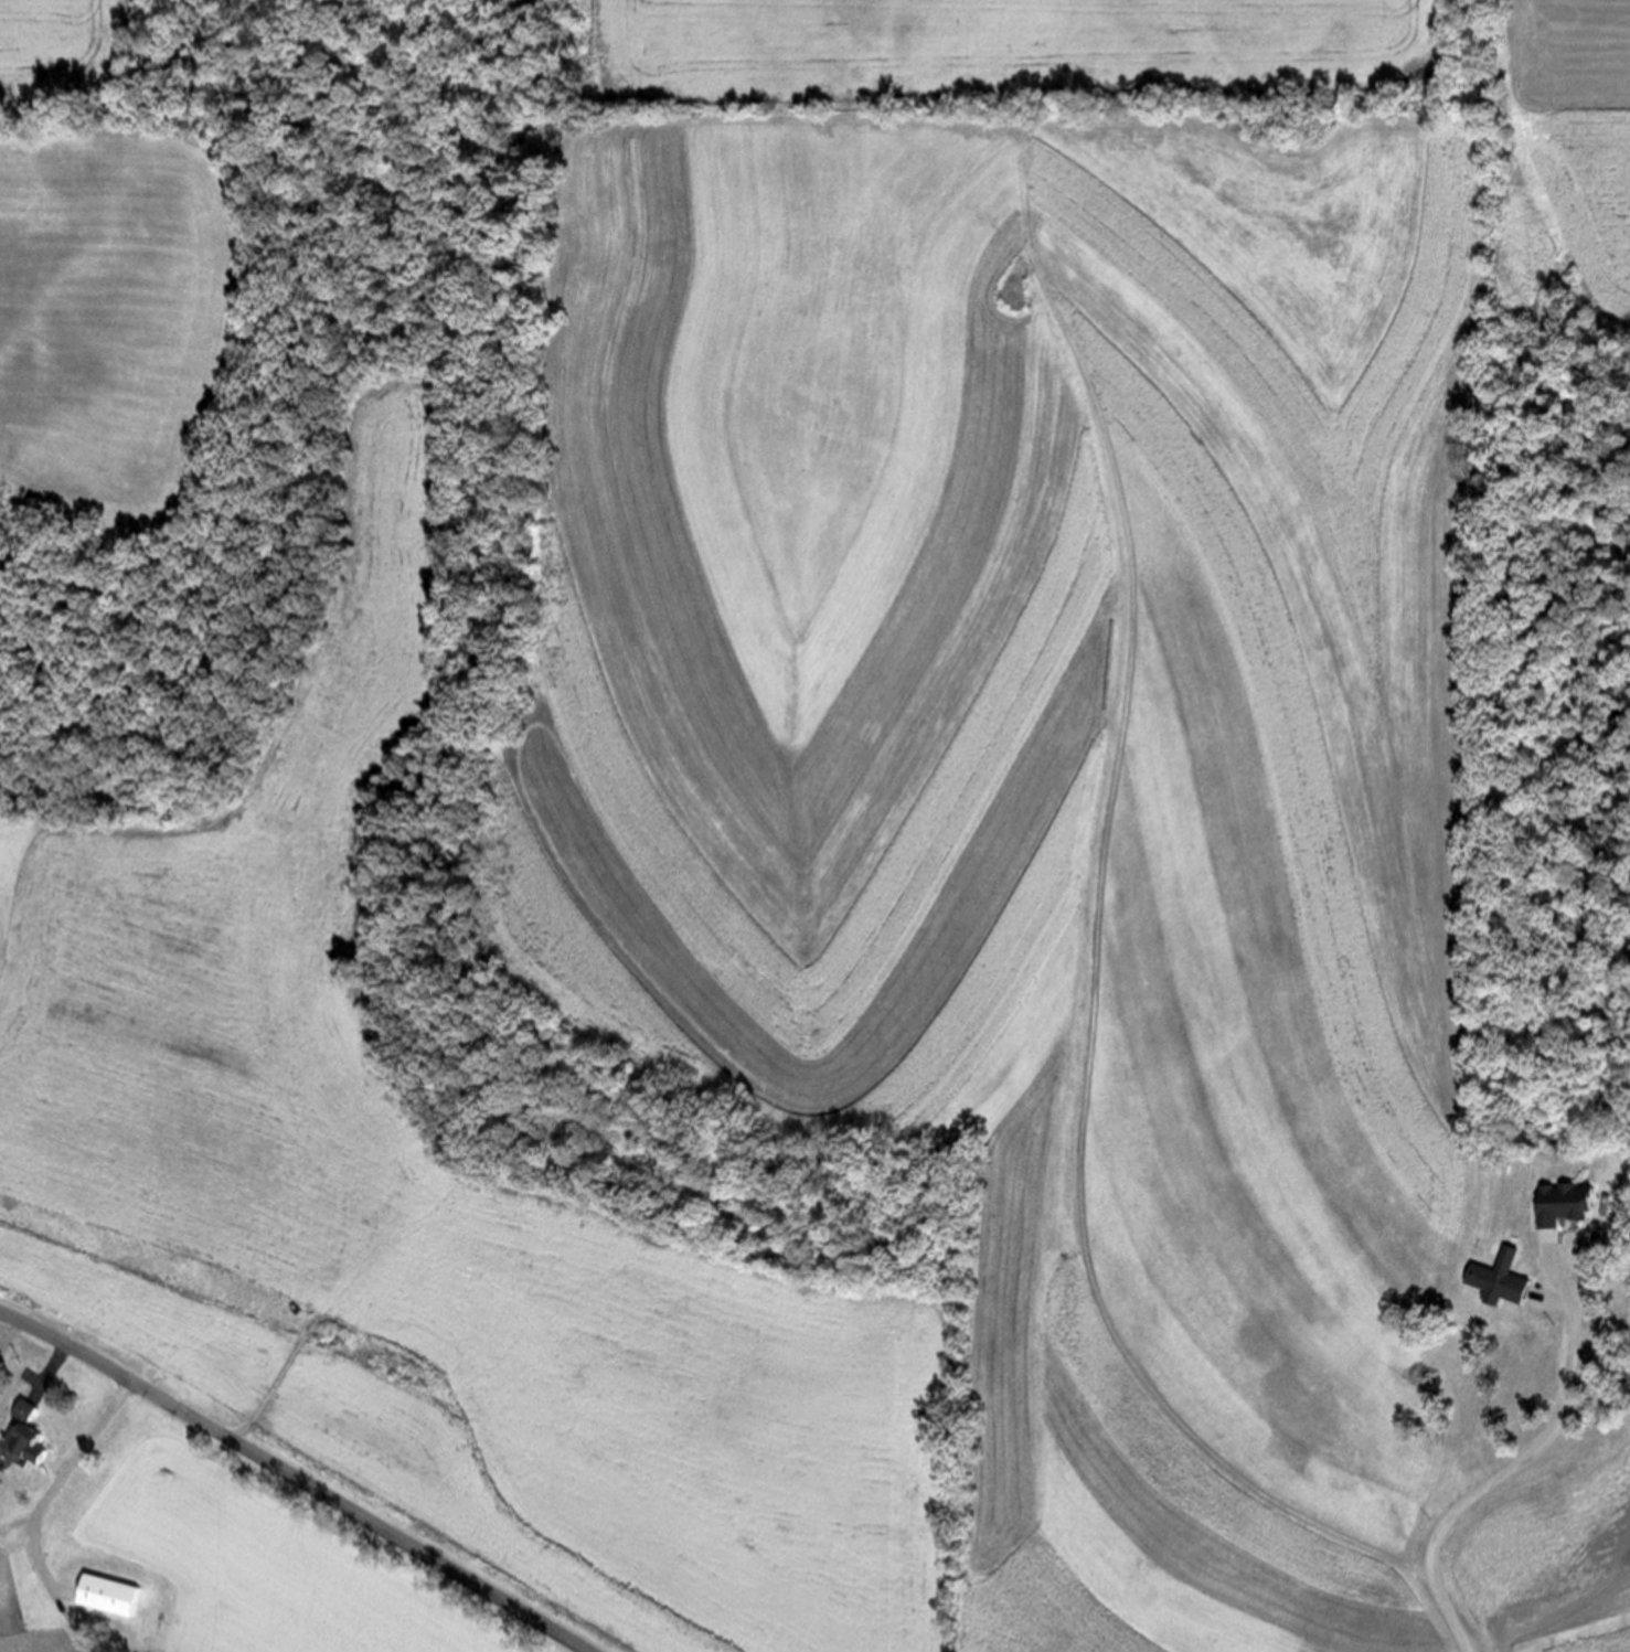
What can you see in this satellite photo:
building: (1559, 1203)
building: (1504, 1282)
building: (28, 1433)
road: (1525, 1459)
road: (294, 1478)
road: (50, 1489)
building: (1, 1539)
building: (108, 1592)
road: (1473, 1644)

